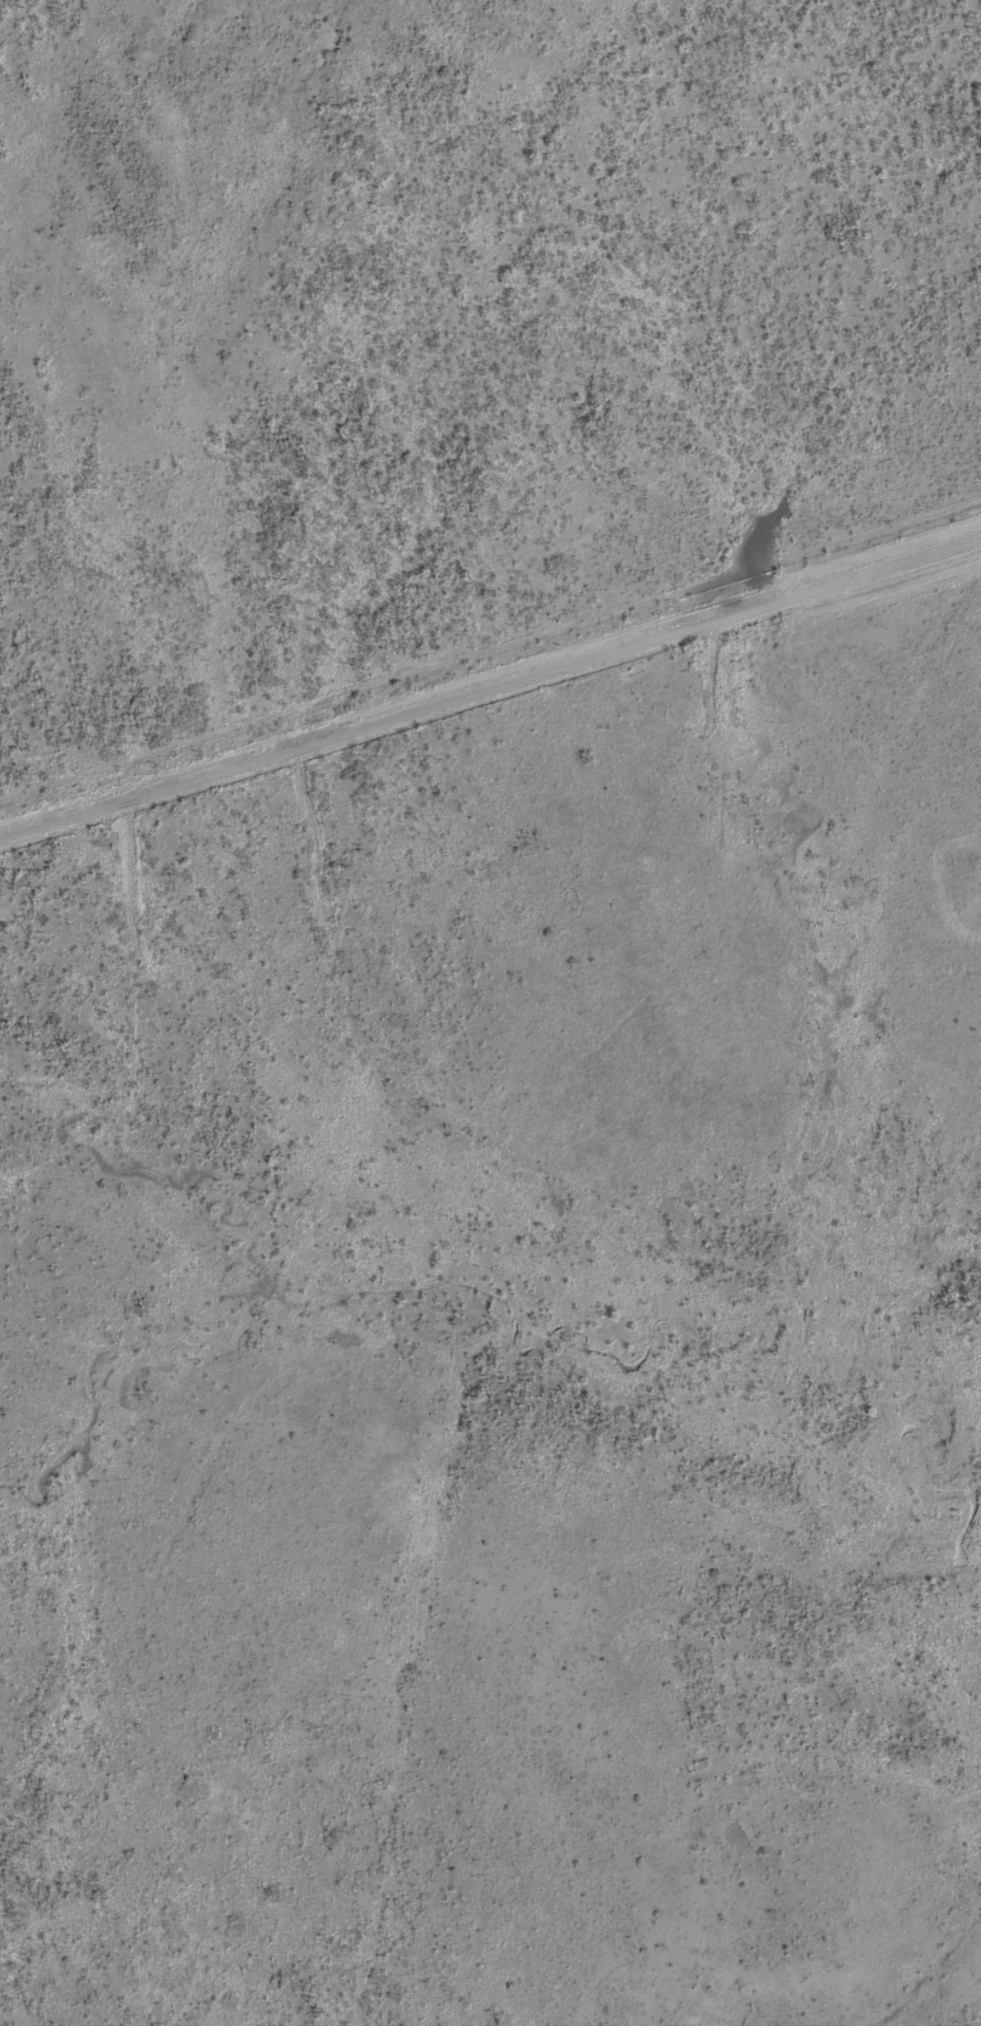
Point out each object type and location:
road: (490, 709)

